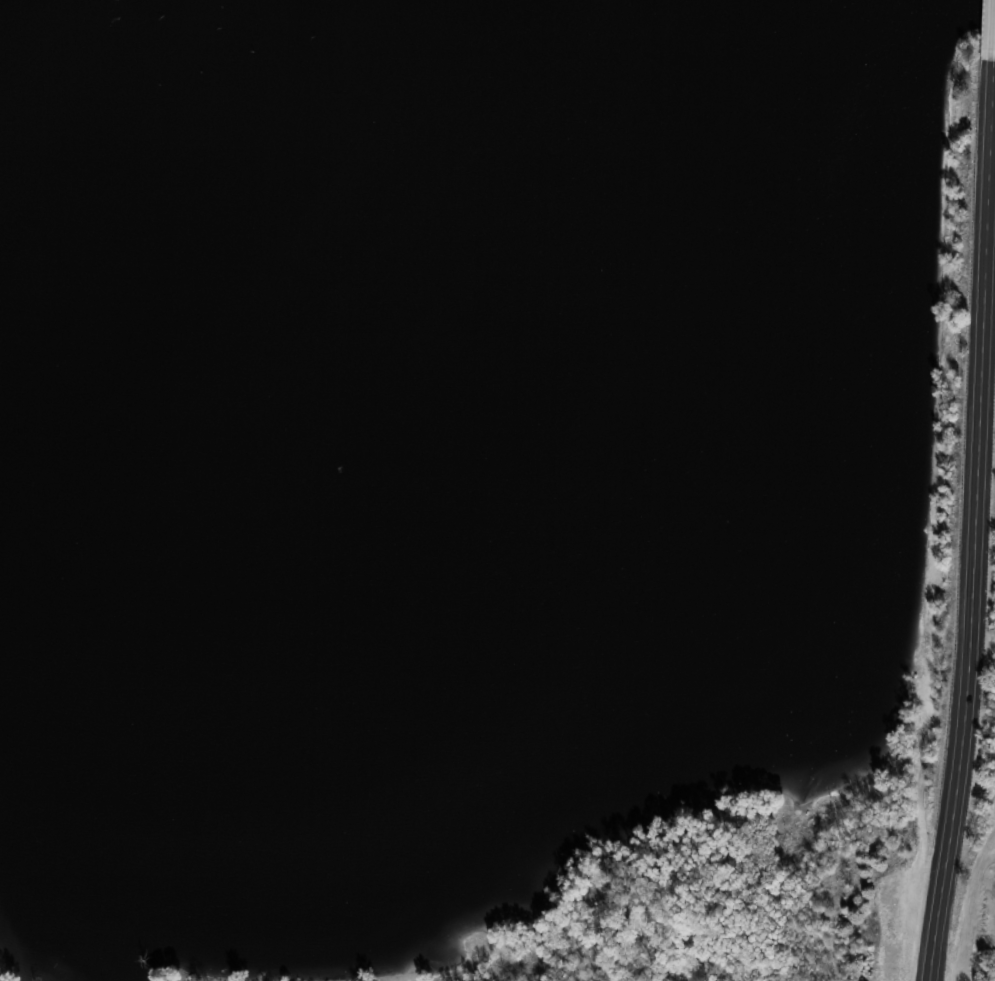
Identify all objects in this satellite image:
road: (975, 563)

